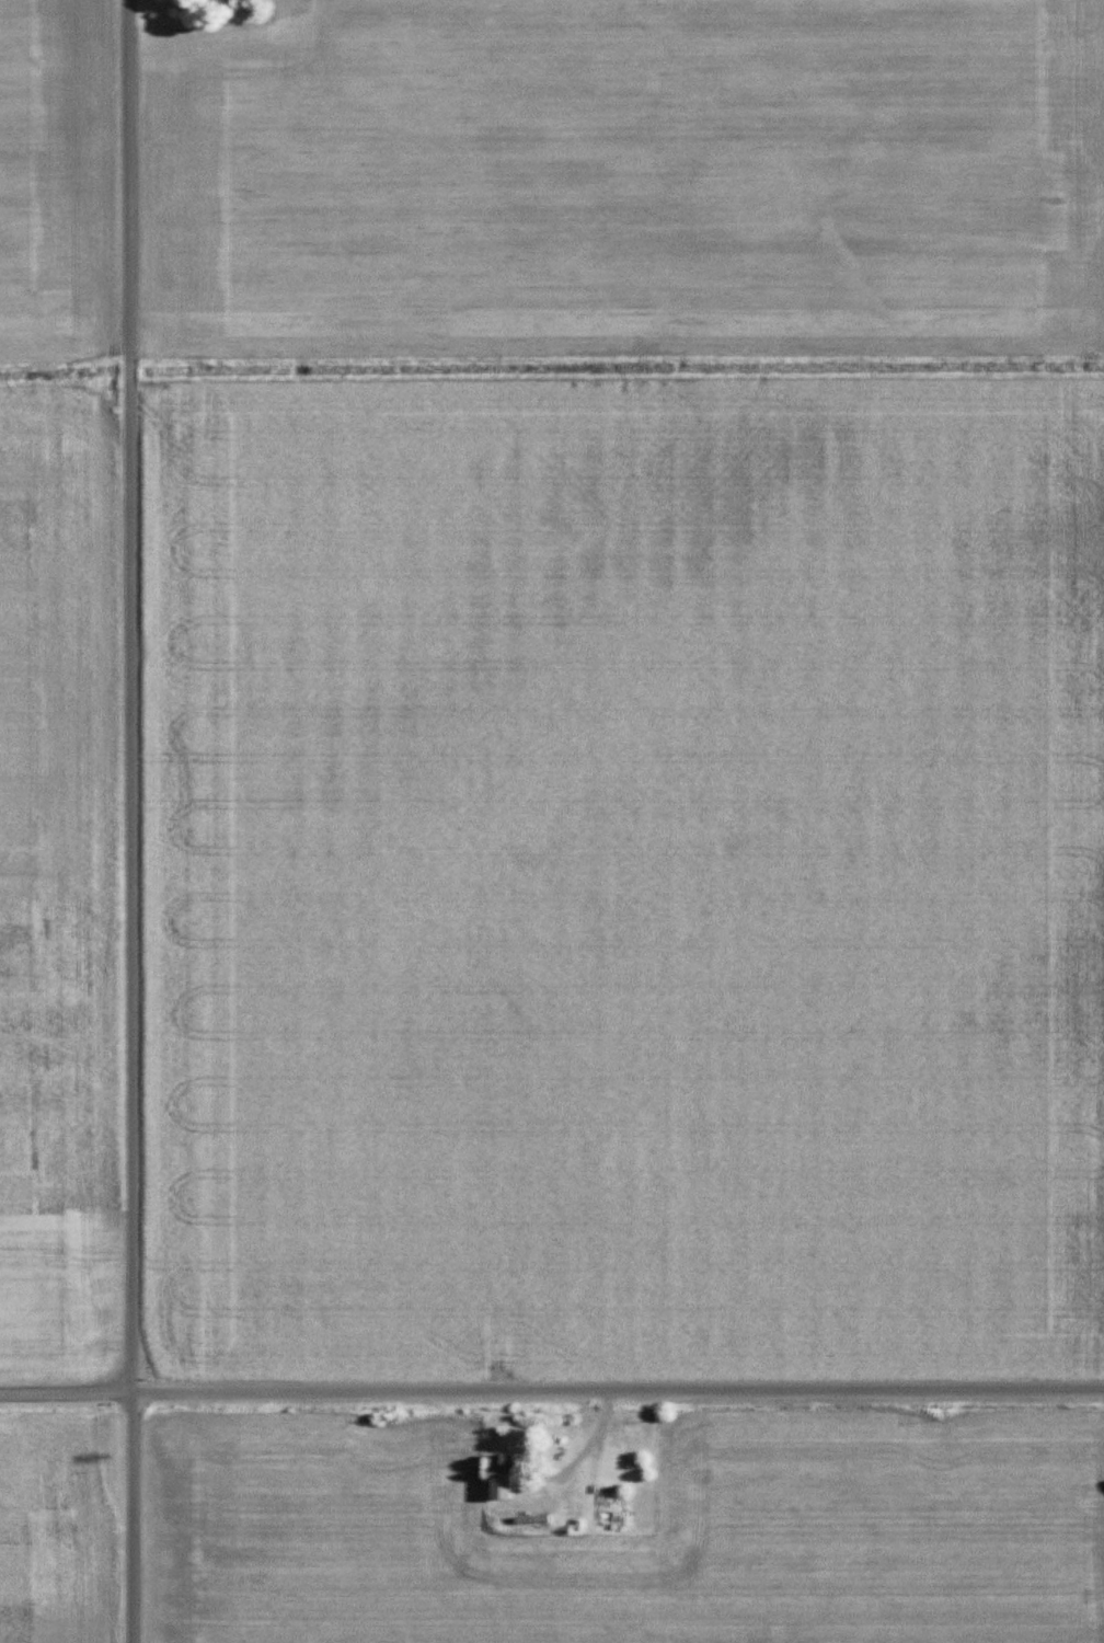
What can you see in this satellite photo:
road: (130, 820)
road: (552, 1394)
building: (498, 1474)

